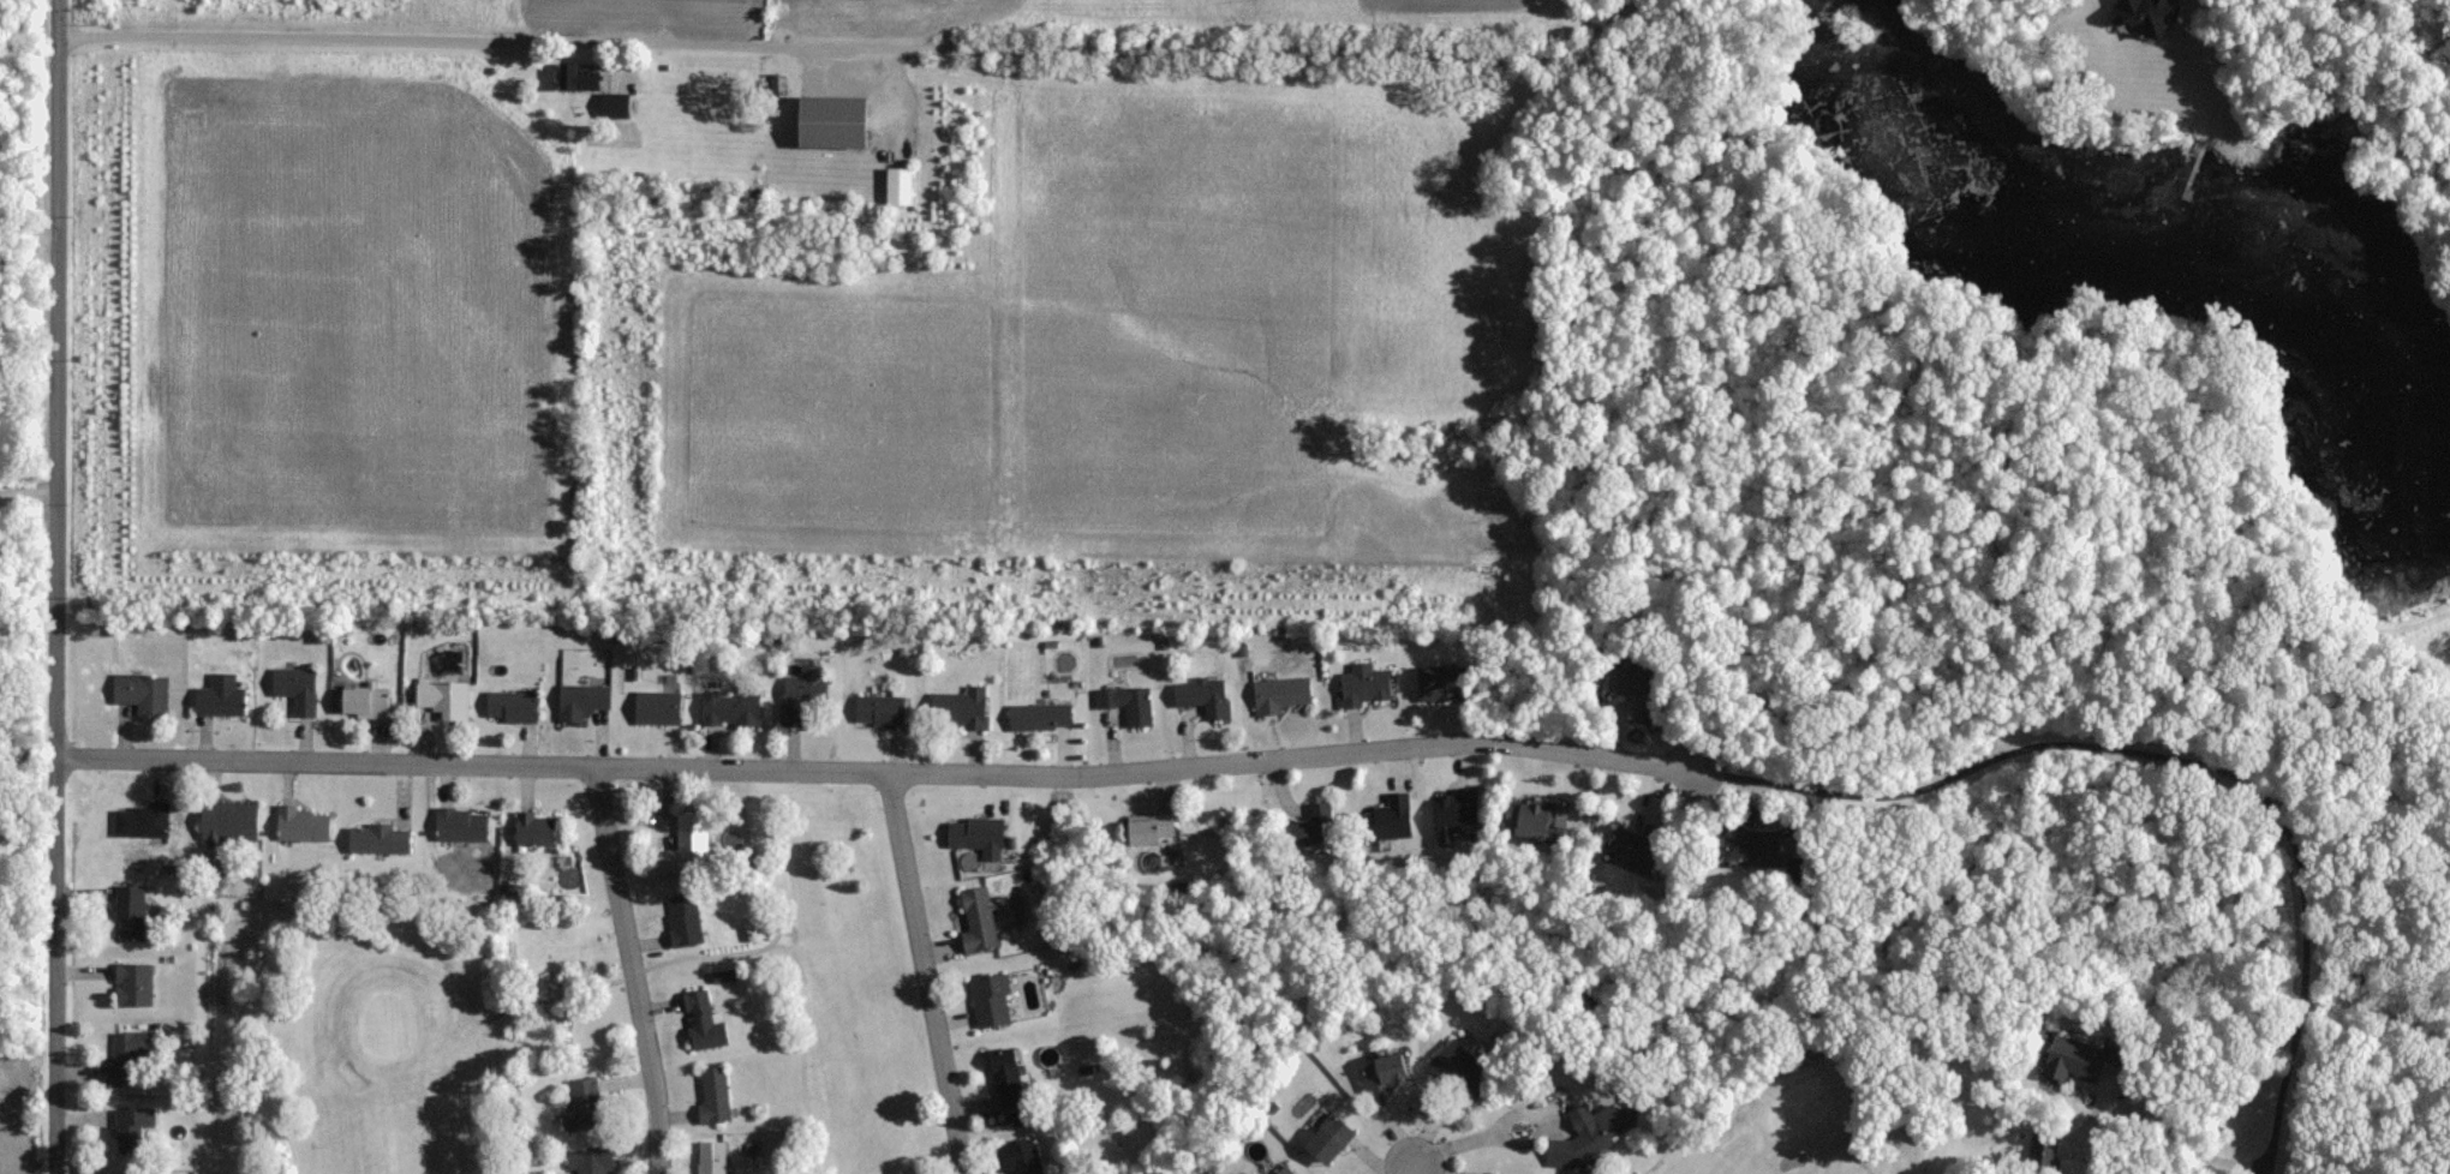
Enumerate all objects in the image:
road: (335, 36)
building: (575, 79)
building: (826, 133)
building: (895, 185)
road: (26, 228)
road: (29, 489)
road: (58, 586)
building: (1436, 681)
building: (1362, 682)
building: (294, 687)
building: (800, 690)
building: (139, 691)
building: (1278, 693)
building: (219, 695)
building: (1202, 695)
building: (361, 699)
building: (441, 700)
building: (579, 700)
building: (1129, 703)
building: (508, 705)
building: (656, 706)
building: (728, 707)
building: (957, 708)
building: (878, 711)
building: (1036, 714)
road: (2176, 751)
road: (877, 771)
building: (1397, 810)
building: (1460, 811)
building: (1529, 814)
building: (139, 819)
building: (225, 820)
building: (301, 822)
building: (459, 823)
building: (533, 827)
building: (974, 834)
building: (377, 838)
building: (681, 844)
building: (564, 868)
building: (129, 911)
building: (975, 918)
building: (682, 920)
building: (551, 947)
road: (631, 970)
road: (927, 972)
building: (131, 983)
building: (988, 999)
building: (700, 1020)
park: (821, 1025)
park: (355, 1040)
building: (122, 1058)
building: (1447, 1064)
building: (1384, 1072)
building: (1003, 1079)
building: (712, 1094)
building: (585, 1102)
building: (131, 1130)
road: (1483, 1136)
building: (1590, 1137)
park: (1827, 1137)
building: (1326, 1138)
road: (2189, 1143)
building: (710, 1156)
building: (1018, 1156)
building: (590, 1161)
road: (1409, 1168)
building: (1284, 1170)

